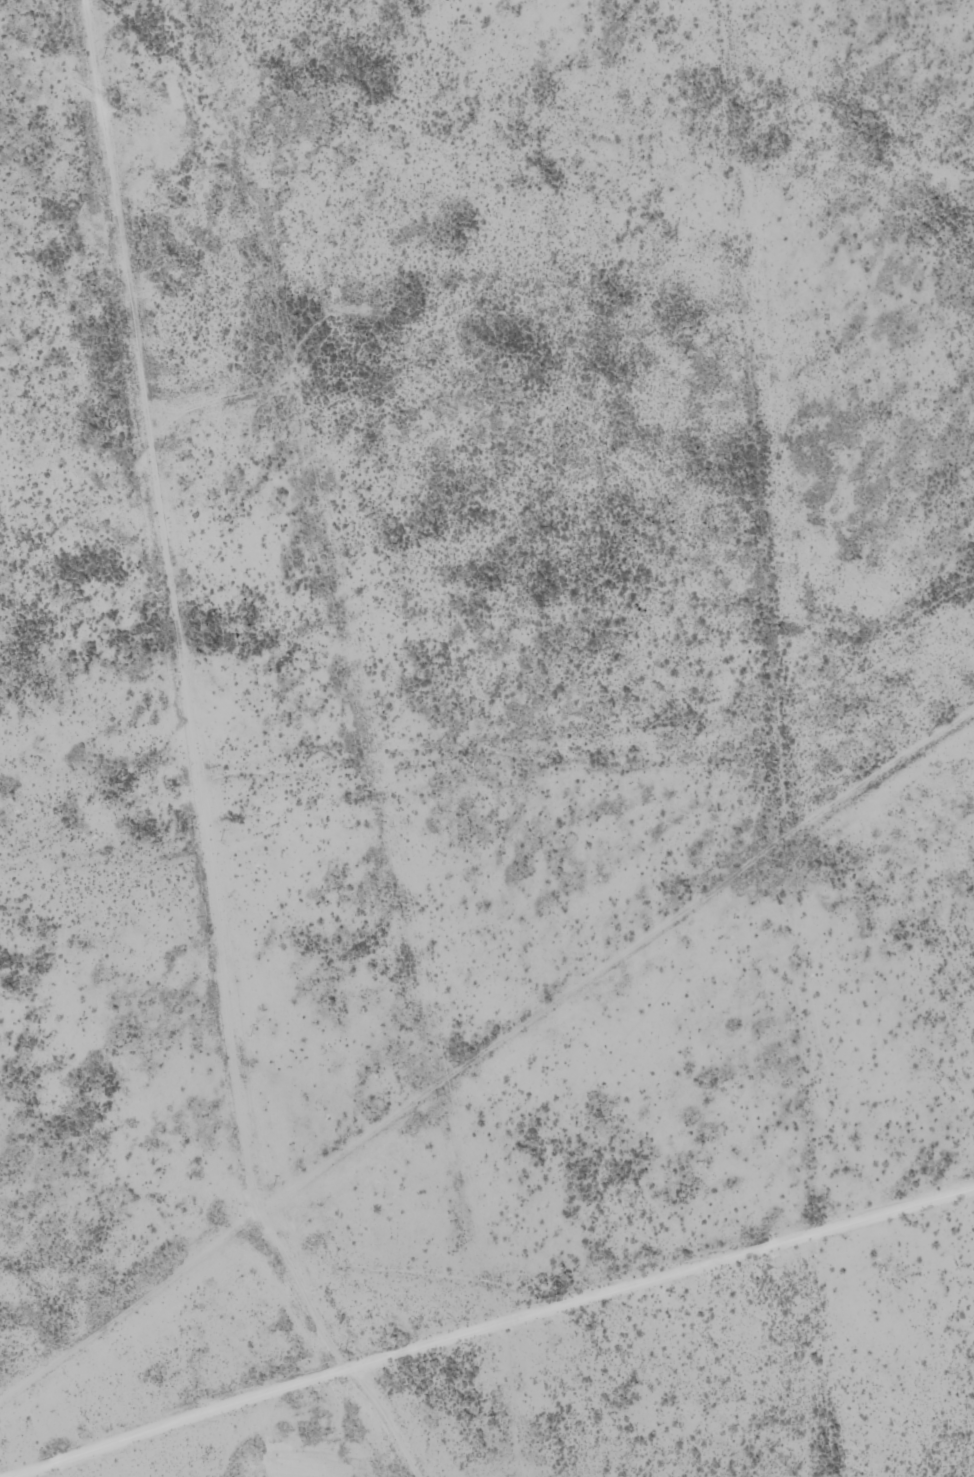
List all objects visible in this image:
road: (497, 1340)

